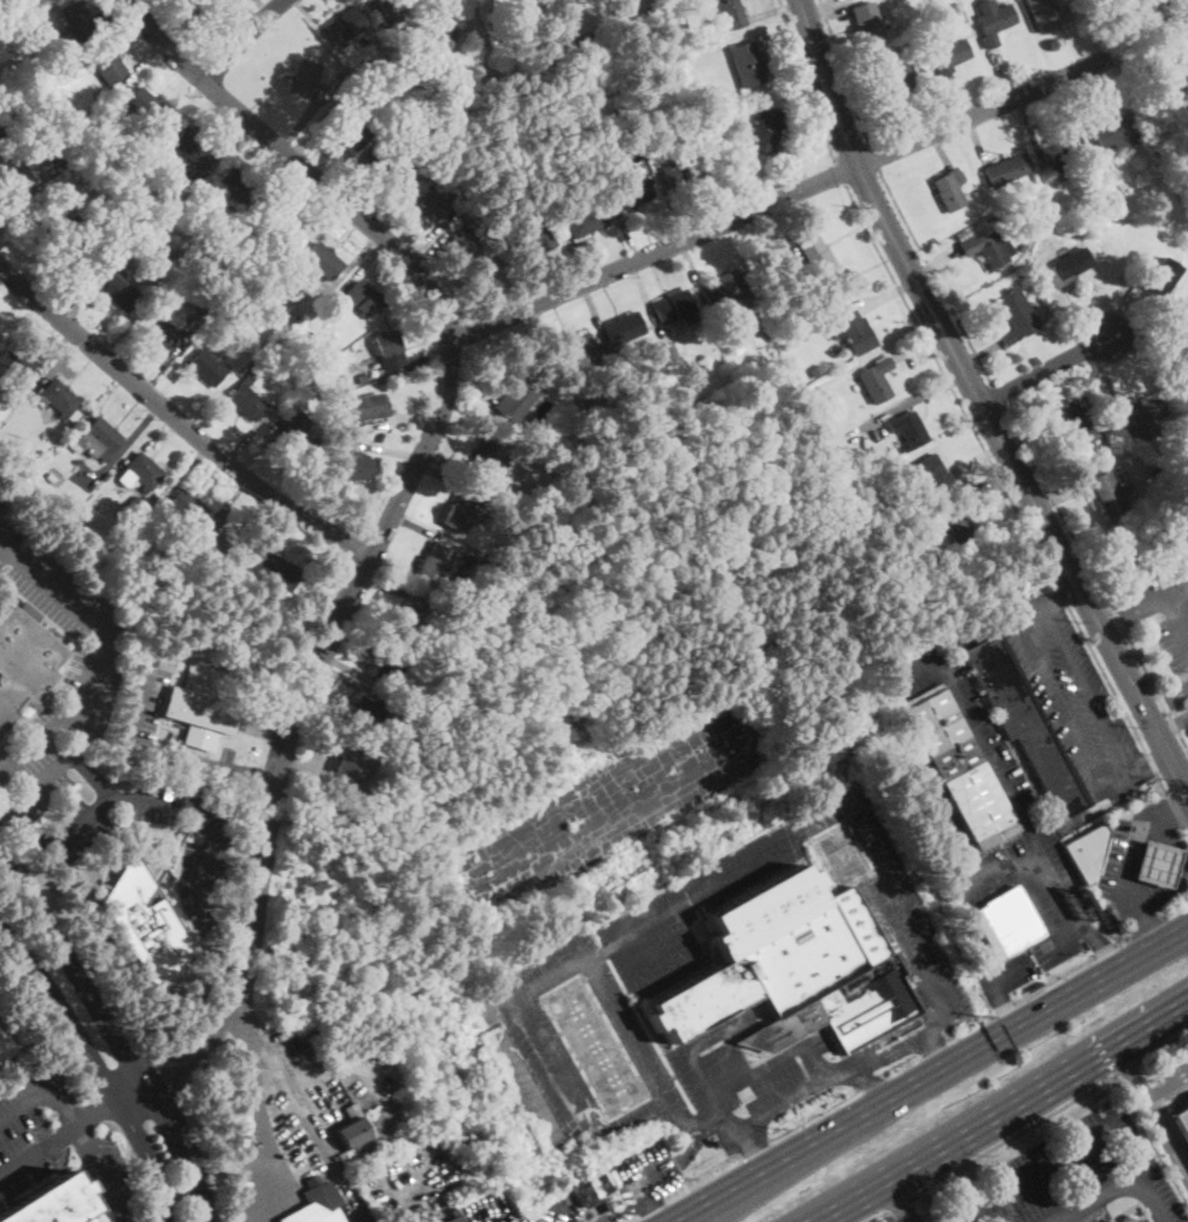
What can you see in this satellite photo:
building: (391, 5)
road: (820, 5)
building: (958, 5)
road: (264, 6)
building: (618, 8)
road: (776, 8)
building: (949, 10)
road: (376, 12)
road: (115, 13)
building: (726, 13)
building: (1046, 13)
building: (30, 16)
building: (890, 16)
building: (77, 18)
building: (994, 19)
building: (865, 21)
road: (314, 23)
building: (345, 24)
building: (447, 31)
building: (391, 34)
building: (624, 34)
road: (783, 36)
road: (245, 39)
building: (590, 46)
road: (1075, 46)
building: (948, 52)
building: (28, 60)
road: (141, 62)
building: (748, 63)
building: (107, 64)
building: (578, 69)
building: (564, 70)
building: (1, 72)
road: (844, 72)
road: (1002, 74)
building: (304, 78)
road: (804, 78)
building: (901, 81)
building: (22, 83)
building: (392, 83)
road: (193, 93)
building: (578, 94)
road: (955, 94)
road: (1083, 94)
building: (144, 104)
road: (982, 110)
building: (39, 113)
road: (911, 119)
building: (583, 121)
building: (400, 123)
road: (299, 125)
building: (350, 125)
road: (1032, 127)
building: (1, 128)
building: (763, 130)
building: (1112, 131)
road: (977, 139)
road: (228, 141)
building: (429, 142)
building: (193, 147)
road: (312, 147)
road: (940, 148)
building: (1064, 151)
road: (873, 157)
road: (297, 162)
building: (387, 165)
road: (796, 166)
building: (1006, 169)
building: (680, 171)
road: (838, 171)
building: (10, 174)
building: (194, 174)
road: (270, 175)
building: (83, 179)
road: (353, 183)
building: (235, 185)
building: (627, 187)
building: (1117, 189)
building: (949, 191)
road: (14, 195)
building: (429, 203)
road: (712, 203)
road: (8, 214)
road: (317, 215)
building: (39, 218)
building: (586, 220)
building: (275, 226)
road: (786, 228)
building: (1084, 229)
road: (624, 230)
building: (965, 232)
building: (163, 233)
road: (429, 233)
building: (534, 236)
building: (472, 245)
building: (1022, 247)
building: (988, 249)
road: (573, 250)
road: (652, 252)
road: (432, 255)
building: (77, 256)
road: (373, 257)
building: (815, 258)
building: (1180, 259)
road: (355, 261)
building: (321, 262)
road: (934, 262)
road: (689, 264)
building: (1067, 267)
road: (932, 276)
building: (1161, 276)
road: (542, 277)
building: (1022, 279)
road: (80, 285)
building: (95, 285)
building: (724, 290)
building: (121, 292)
road: (886, 293)
road: (1129, 296)
road: (645, 297)
building: (363, 298)
building: (206, 300)
building: (672, 305)
road: (75, 308)
road: (1119, 309)
road: (596, 311)
building: (749, 312)
road: (1063, 314)
building: (1017, 315)
building: (294, 321)
building: (624, 327)
building: (163, 328)
road: (536, 329)
building: (854, 332)
building: (254, 341)
building: (665, 343)
road: (1134, 346)
road: (918, 347)
building: (390, 349)
building: (572, 350)
road: (53, 352)
road: (978, 352)
building: (1177, 356)
building: (16, 359)
road: (165, 361)
building: (315, 362)
road: (60, 363)
road: (410, 363)
road: (68, 367)
building: (207, 368)
road: (1043, 369)
road: (170, 370)
building: (815, 370)
road: (1104, 374)
building: (363, 379)
building: (876, 379)
road: (950, 384)
road: (476, 385)
road: (997, 394)
building: (59, 398)
road: (917, 398)
road: (977, 398)
building: (247, 399)
building: (519, 399)
building: (367, 408)
building: (821, 409)
building: (595, 411)
road: (417, 414)
building: (1141, 416)
road: (176, 419)
building: (1073, 422)
building: (909, 429)
road: (1028, 431)
road: (250, 435)
building: (295, 437)
building: (818, 437)
road: (144, 439)
building: (98, 440)
road: (123, 448)
road: (258, 448)
road: (388, 450)
building: (487, 452)
road: (978, 458)
building: (350, 462)
road: (451, 463)
building: (1153, 469)
road: (186, 470)
building: (141, 472)
building: (927, 473)
building: (1159, 476)
road: (445, 478)
building: (53, 481)
road: (979, 486)
building: (1108, 492)
road: (1060, 495)
building: (895, 499)
building: (187, 505)
road: (227, 505)
building: (133, 507)
building: (461, 510)
building: (954, 525)
parking lot: (11, 528)
road: (279, 531)
road: (425, 531)
building: (228, 539)
building: (912, 551)
building: (435, 562)
building: (273, 573)
road: (1095, 578)
road: (388, 587)
road: (1059, 591)
road: (1063, 594)
road: (1164, 595)
building: (492, 607)
parking lot: (1160, 613)
building: (412, 620)
road: (1111, 621)
road: (320, 653)
building: (22, 661)
building: (390, 662)
parking lot: (93, 666)
road: (94, 667)
road: (346, 667)
road: (344, 677)
parking lot: (1071, 694)
parking lot: (145, 698)
road: (1117, 698)
road: (142, 700)
road: (964, 700)
road: (1169, 700)
building: (201, 704)
building: (363, 714)
building: (1023, 720)
road: (1174, 723)
road: (264, 725)
road: (45, 736)
parking lot: (895, 750)
building: (117, 752)
road: (1149, 759)
road: (203, 760)
road: (299, 761)
road: (318, 761)
building: (959, 766)
building: (350, 773)
road: (1187, 778)
road: (1105, 780)
road: (163, 801)
road: (1176, 807)
road: (4, 808)
road: (1175, 808)
road: (942, 812)
road: (1186, 830)
building: (1085, 848)
road: (1133, 858)
parking lot: (200, 859)
parking lot: (1145, 863)
building: (1155, 863)
road: (30, 867)
road: (1177, 870)
road: (1063, 893)
parking lot: (1053, 894)
road: (1176, 912)
building: (144, 923)
road: (240, 923)
building: (1007, 923)
road: (1146, 928)
road: (1147, 931)
road: (1124, 941)
road: (1064, 942)
road: (1106, 951)
road: (977, 953)
building: (792, 966)
road: (74, 967)
parking lot: (1018, 971)
road: (1007, 973)
road: (1054, 980)
road: (1003, 1007)
road: (62, 1010)
road: (205, 1043)
building: (6, 1046)
road: (976, 1048)
road: (1161, 1048)
road: (1126, 1069)
road: (1129, 1070)
parking lot: (1174, 1077)
road: (254, 1088)
road: (376, 1088)
road: (1167, 1088)
parking lot: (370, 1089)
building: (520, 1095)
road: (1002, 1107)
road: (94, 1110)
road: (315, 1113)
building: (1182, 1122)
road: (76, 1127)
building: (352, 1128)
road: (1016, 1133)
parking lot: (53, 1134)
road: (1167, 1135)
road: (180, 1148)
road: (39, 1152)
building: (341, 1154)
road: (148, 1157)
road: (1058, 1160)
road: (650, 1173)
parking lot: (648, 1175)
parking lot: (1071, 1176)
parking lot: (419, 1180)
parking lot: (263, 1185)
road: (262, 1189)
road: (400, 1191)
building: (597, 1192)
road: (725, 1195)
road: (1095, 1197)
road: (1151, 1197)
road: (899, 1200)
road: (649, 1201)
building: (317, 1203)
building: (52, 1204)
road: (901, 1205)
parking lot: (491, 1209)
parking lot: (569, 1211)
road: (589, 1217)
road: (877, 1217)
building: (456, 1218)
road: (496, 1220)
road: (584, 1221)
building: (1110, 1221)

